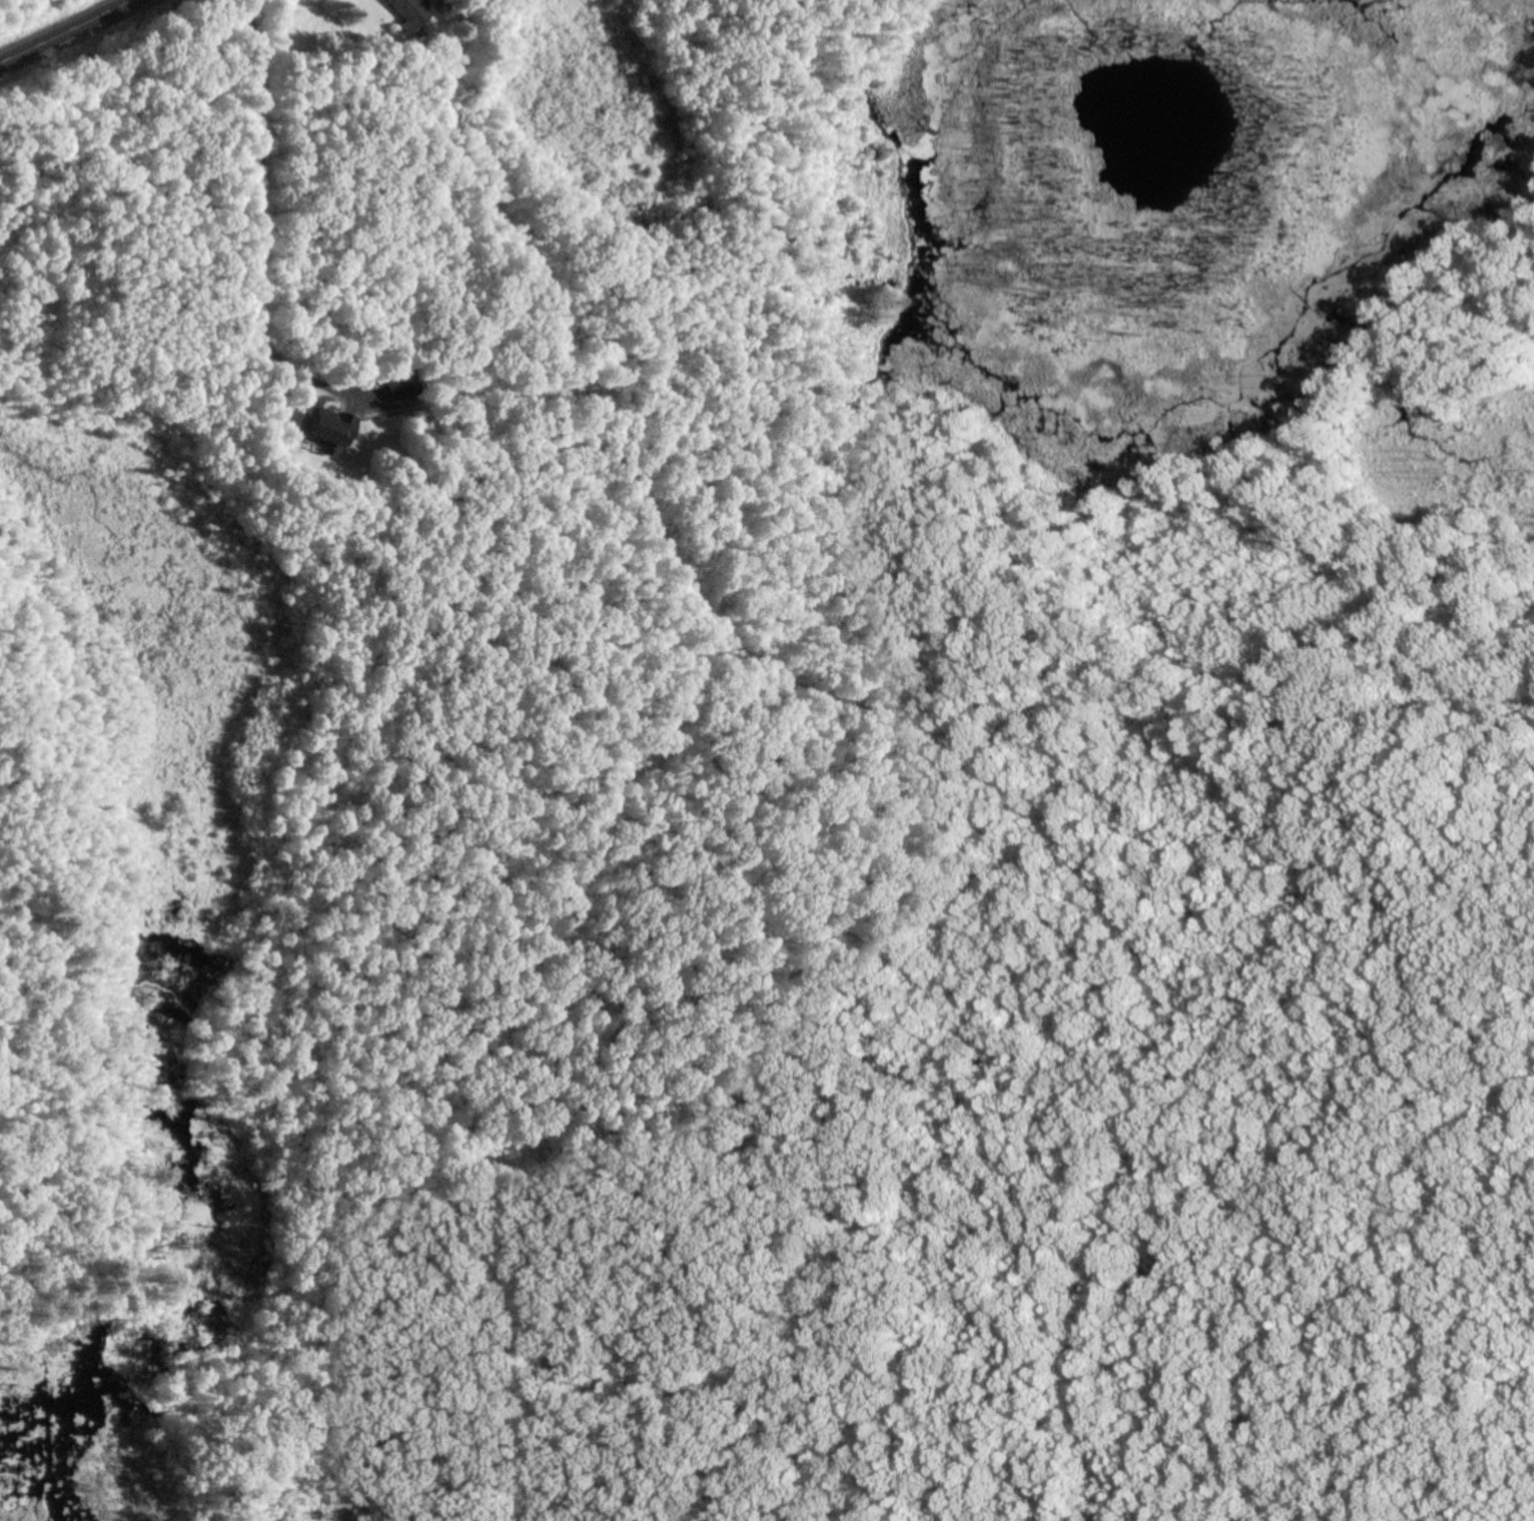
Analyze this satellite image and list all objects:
building: (410, 11)
road: (64, 30)
building: (402, 385)
building: (326, 428)

